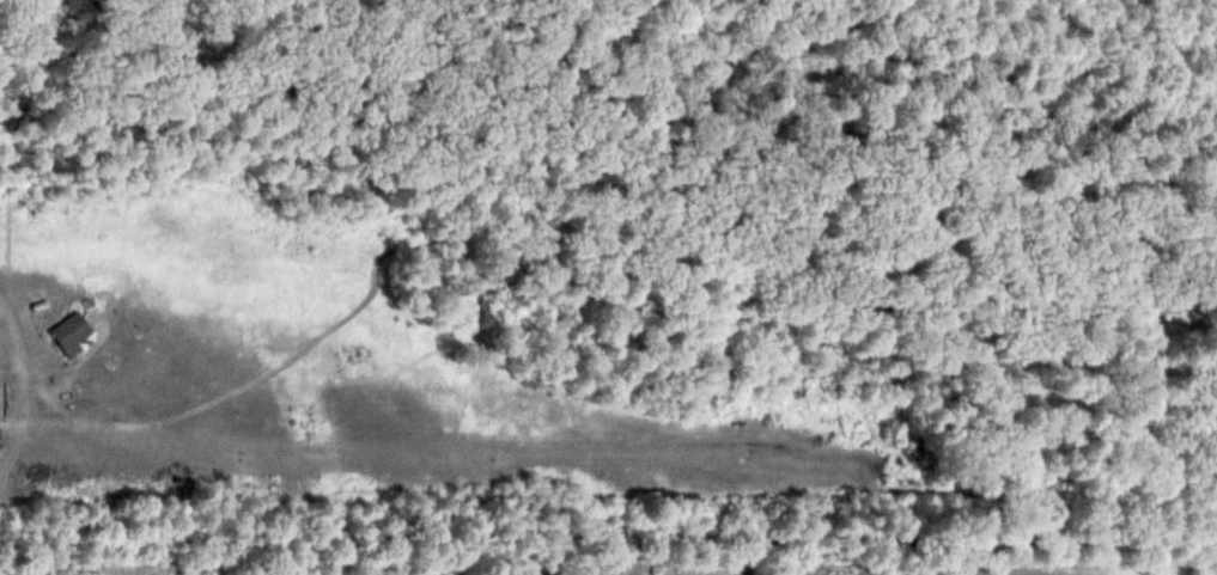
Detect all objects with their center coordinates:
building: (73, 334)

